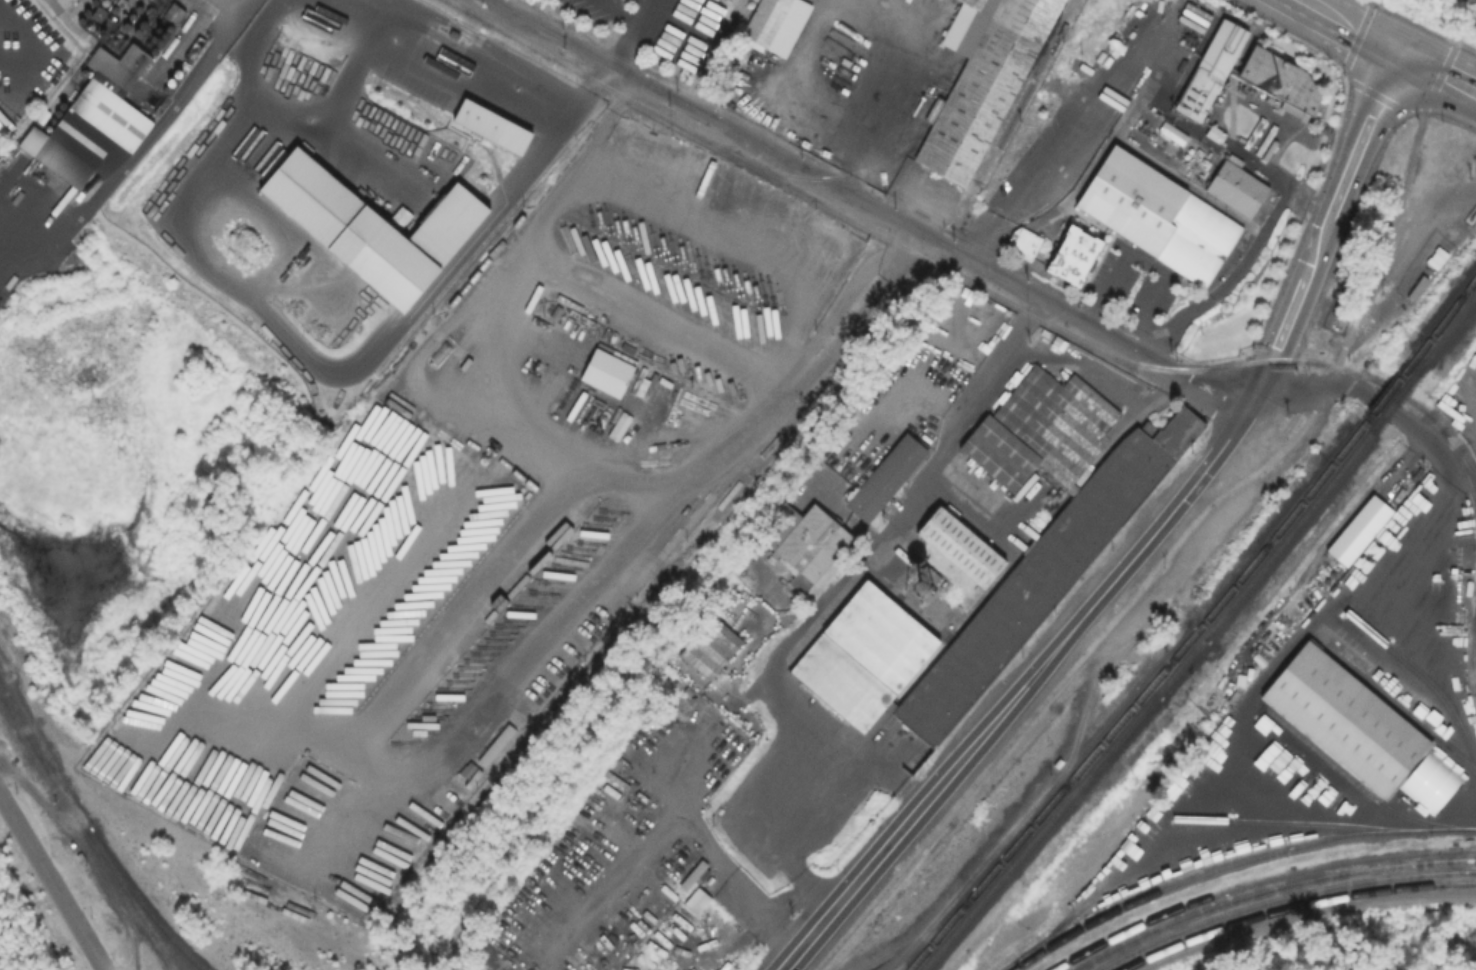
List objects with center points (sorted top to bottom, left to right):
building: (976, 2)
building: (56, 4)
road: (624, 10)
building: (98, 12)
building: (175, 14)
road: (348, 15)
road: (1411, 21)
building: (774, 24)
road: (1351, 25)
road: (1290, 31)
road: (635, 34)
road: (1466, 47)
traffic signals: (1399, 51)
building: (1210, 67)
road: (1437, 72)
building: (1279, 78)
road: (1439, 78)
road: (1348, 80)
road: (892, 86)
building: (983, 86)
road: (502, 103)
building: (103, 112)
road: (267, 124)
building: (496, 125)
road: (599, 129)
building: (1170, 130)
building: (1214, 132)
road: (1364, 134)
road: (147, 144)
road: (1066, 146)
railway: (900, 148)
building: (1235, 186)
building: (328, 203)
road: (865, 207)
building: (1156, 213)
building: (454, 221)
road: (545, 223)
road: (193, 230)
building: (1021, 241)
road: (1317, 248)
road: (905, 251)
building: (1072, 254)
road: (1246, 255)
road: (1149, 263)
building: (401, 264)
railway: (967, 280)
road: (1312, 301)
road: (842, 306)
building: (1340, 309)
railway: (1445, 315)
road: (661, 316)
road: (855, 317)
road: (1288, 318)
railway: (1449, 326)
building: (609, 372)
road: (1266, 373)
road: (1359, 390)
railway: (1388, 390)
railway: (1396, 396)
railway: (1458, 450)
road: (1210, 465)
road: (1457, 471)
building: (890, 478)
building: (1358, 528)
road: (1413, 532)
railway: (1267, 541)
building: (812, 543)
railway: (1275, 548)
building: (987, 558)
road: (1162, 561)
road: (590, 590)
road: (831, 598)
railway: (1202, 619)
road: (431, 620)
railway: (1211, 629)
railway: (1472, 645)
building: (710, 646)
road: (1034, 674)
railway: (1400, 706)
building: (1349, 719)
railway: (19, 722)
railway: (1079, 774)
building: (1429, 781)
railway: (1360, 786)
railway: (1039, 814)
road: (695, 817)
railway: (1049, 818)
railway: (1323, 821)
railway: (87, 834)
railway: (1208, 871)
building: (694, 874)
railway: (1254, 881)
road: (51, 885)
railway: (1266, 889)
road: (849, 892)
railway: (1278, 897)
building: (696, 899)
railway: (1292, 906)
railway: (146, 911)
railway: (934, 931)

